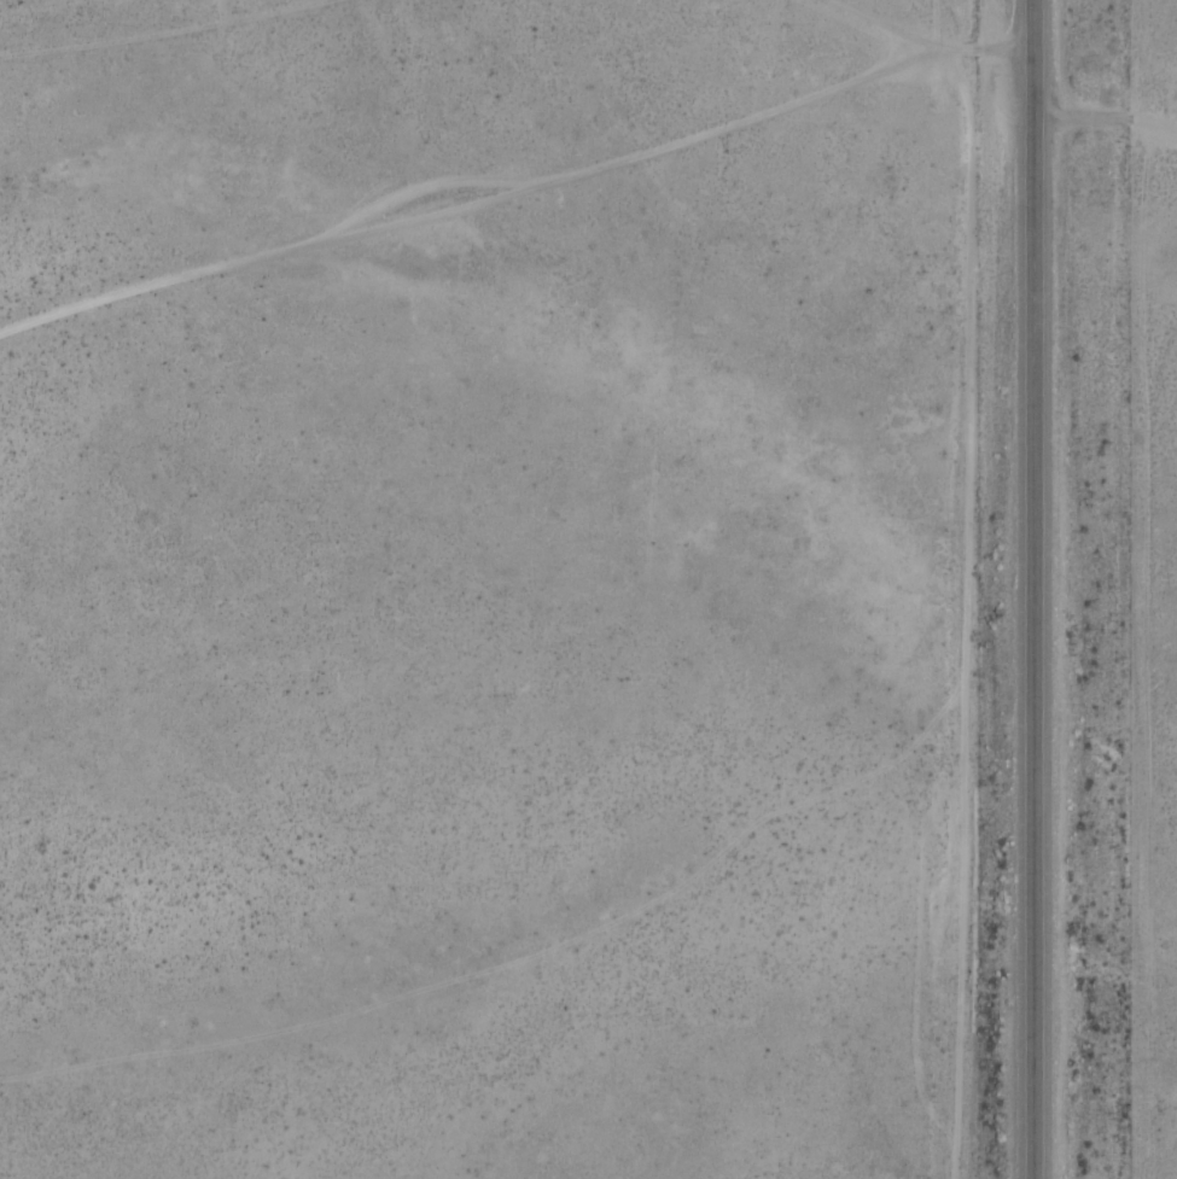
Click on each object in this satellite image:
road: (517, 97)
road: (1106, 105)
road: (1039, 589)

